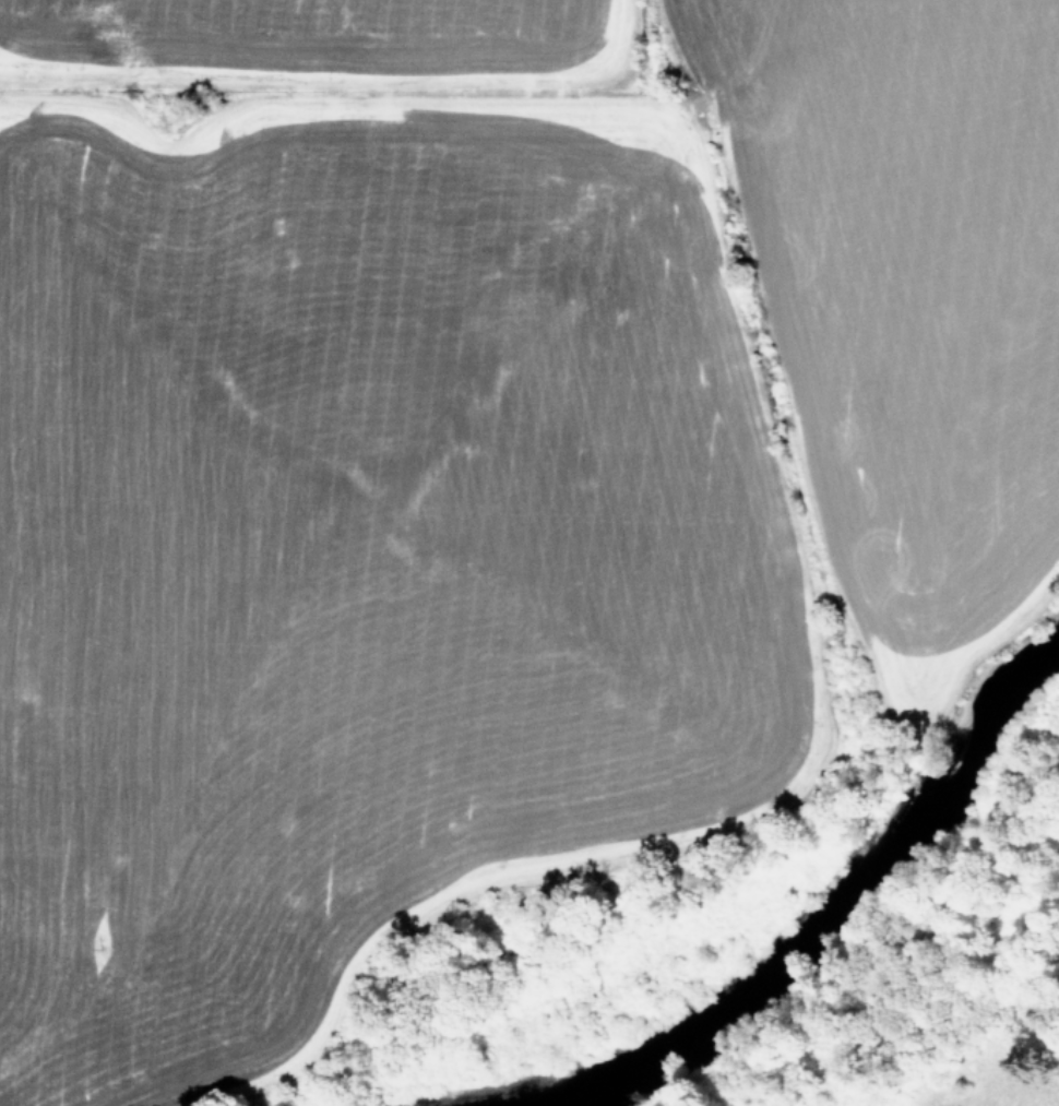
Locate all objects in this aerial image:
crop: (473, 456)
crop: (971, 1103)

